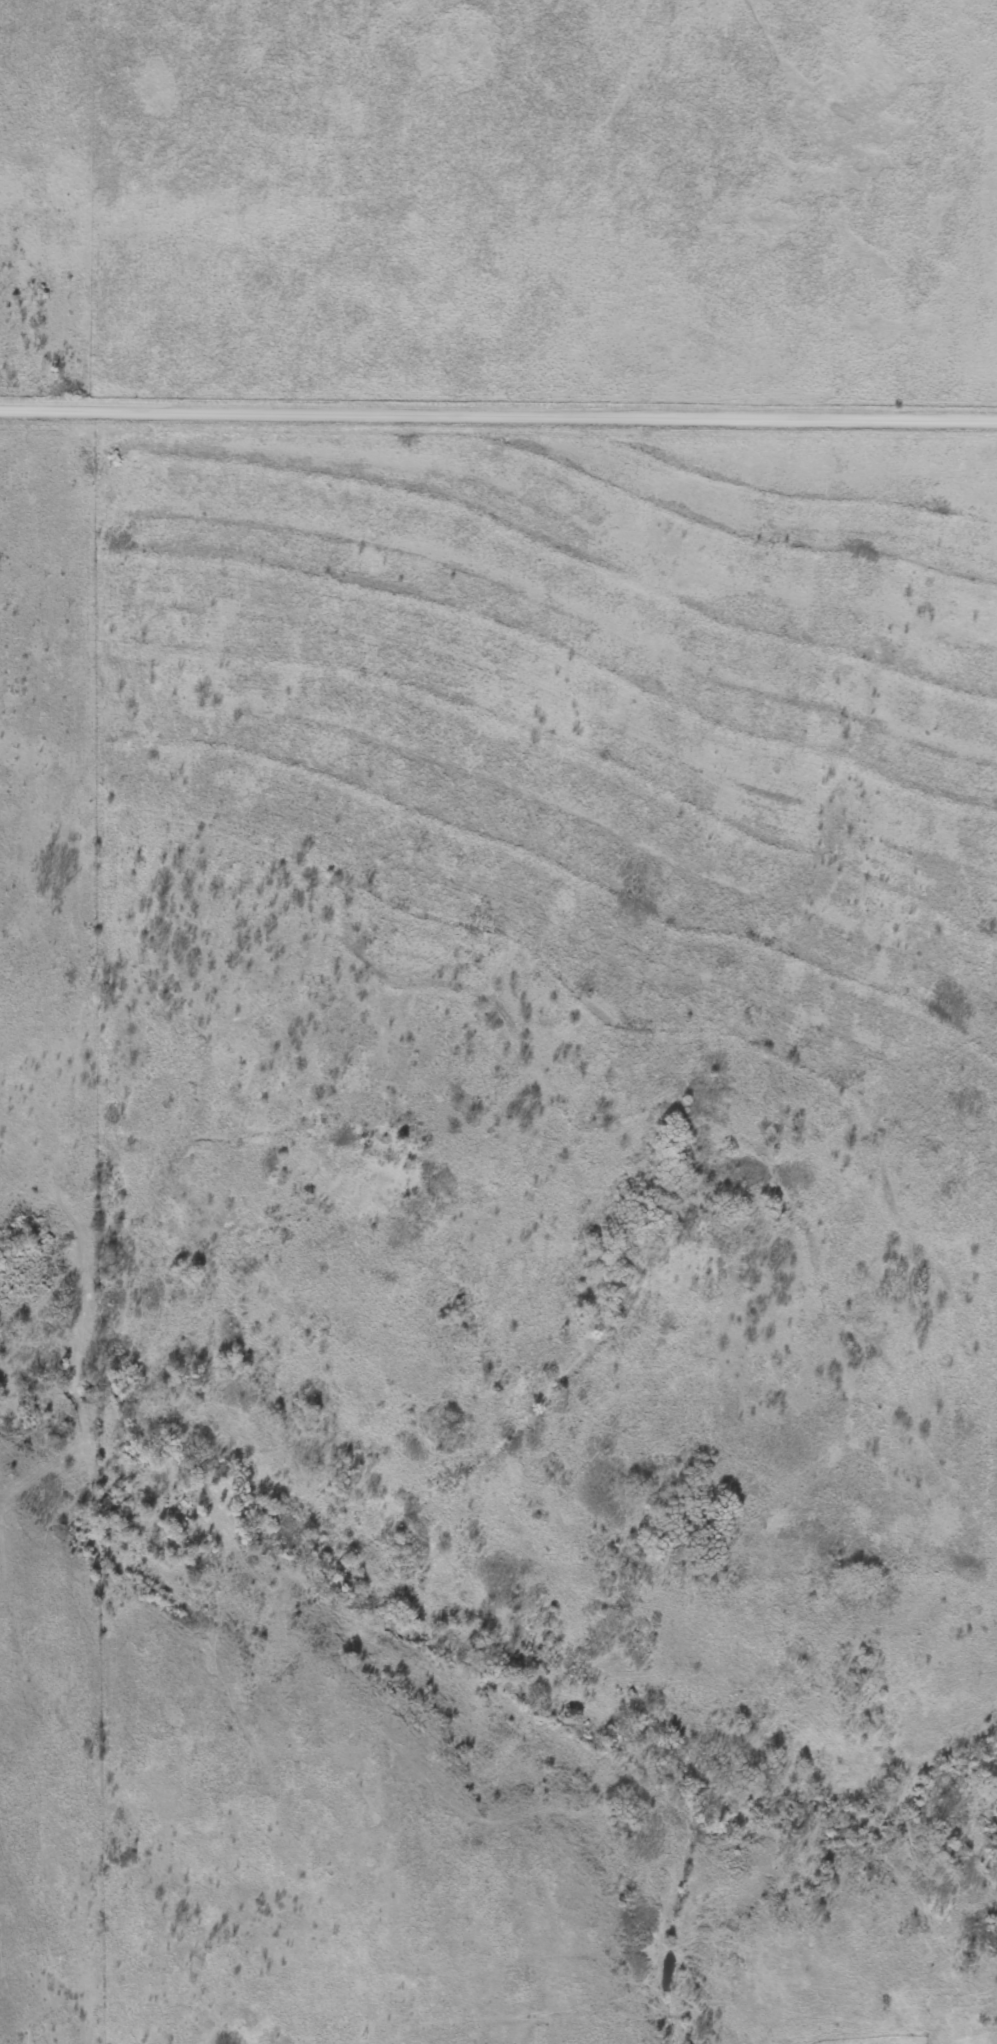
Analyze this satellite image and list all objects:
road: (498, 415)

